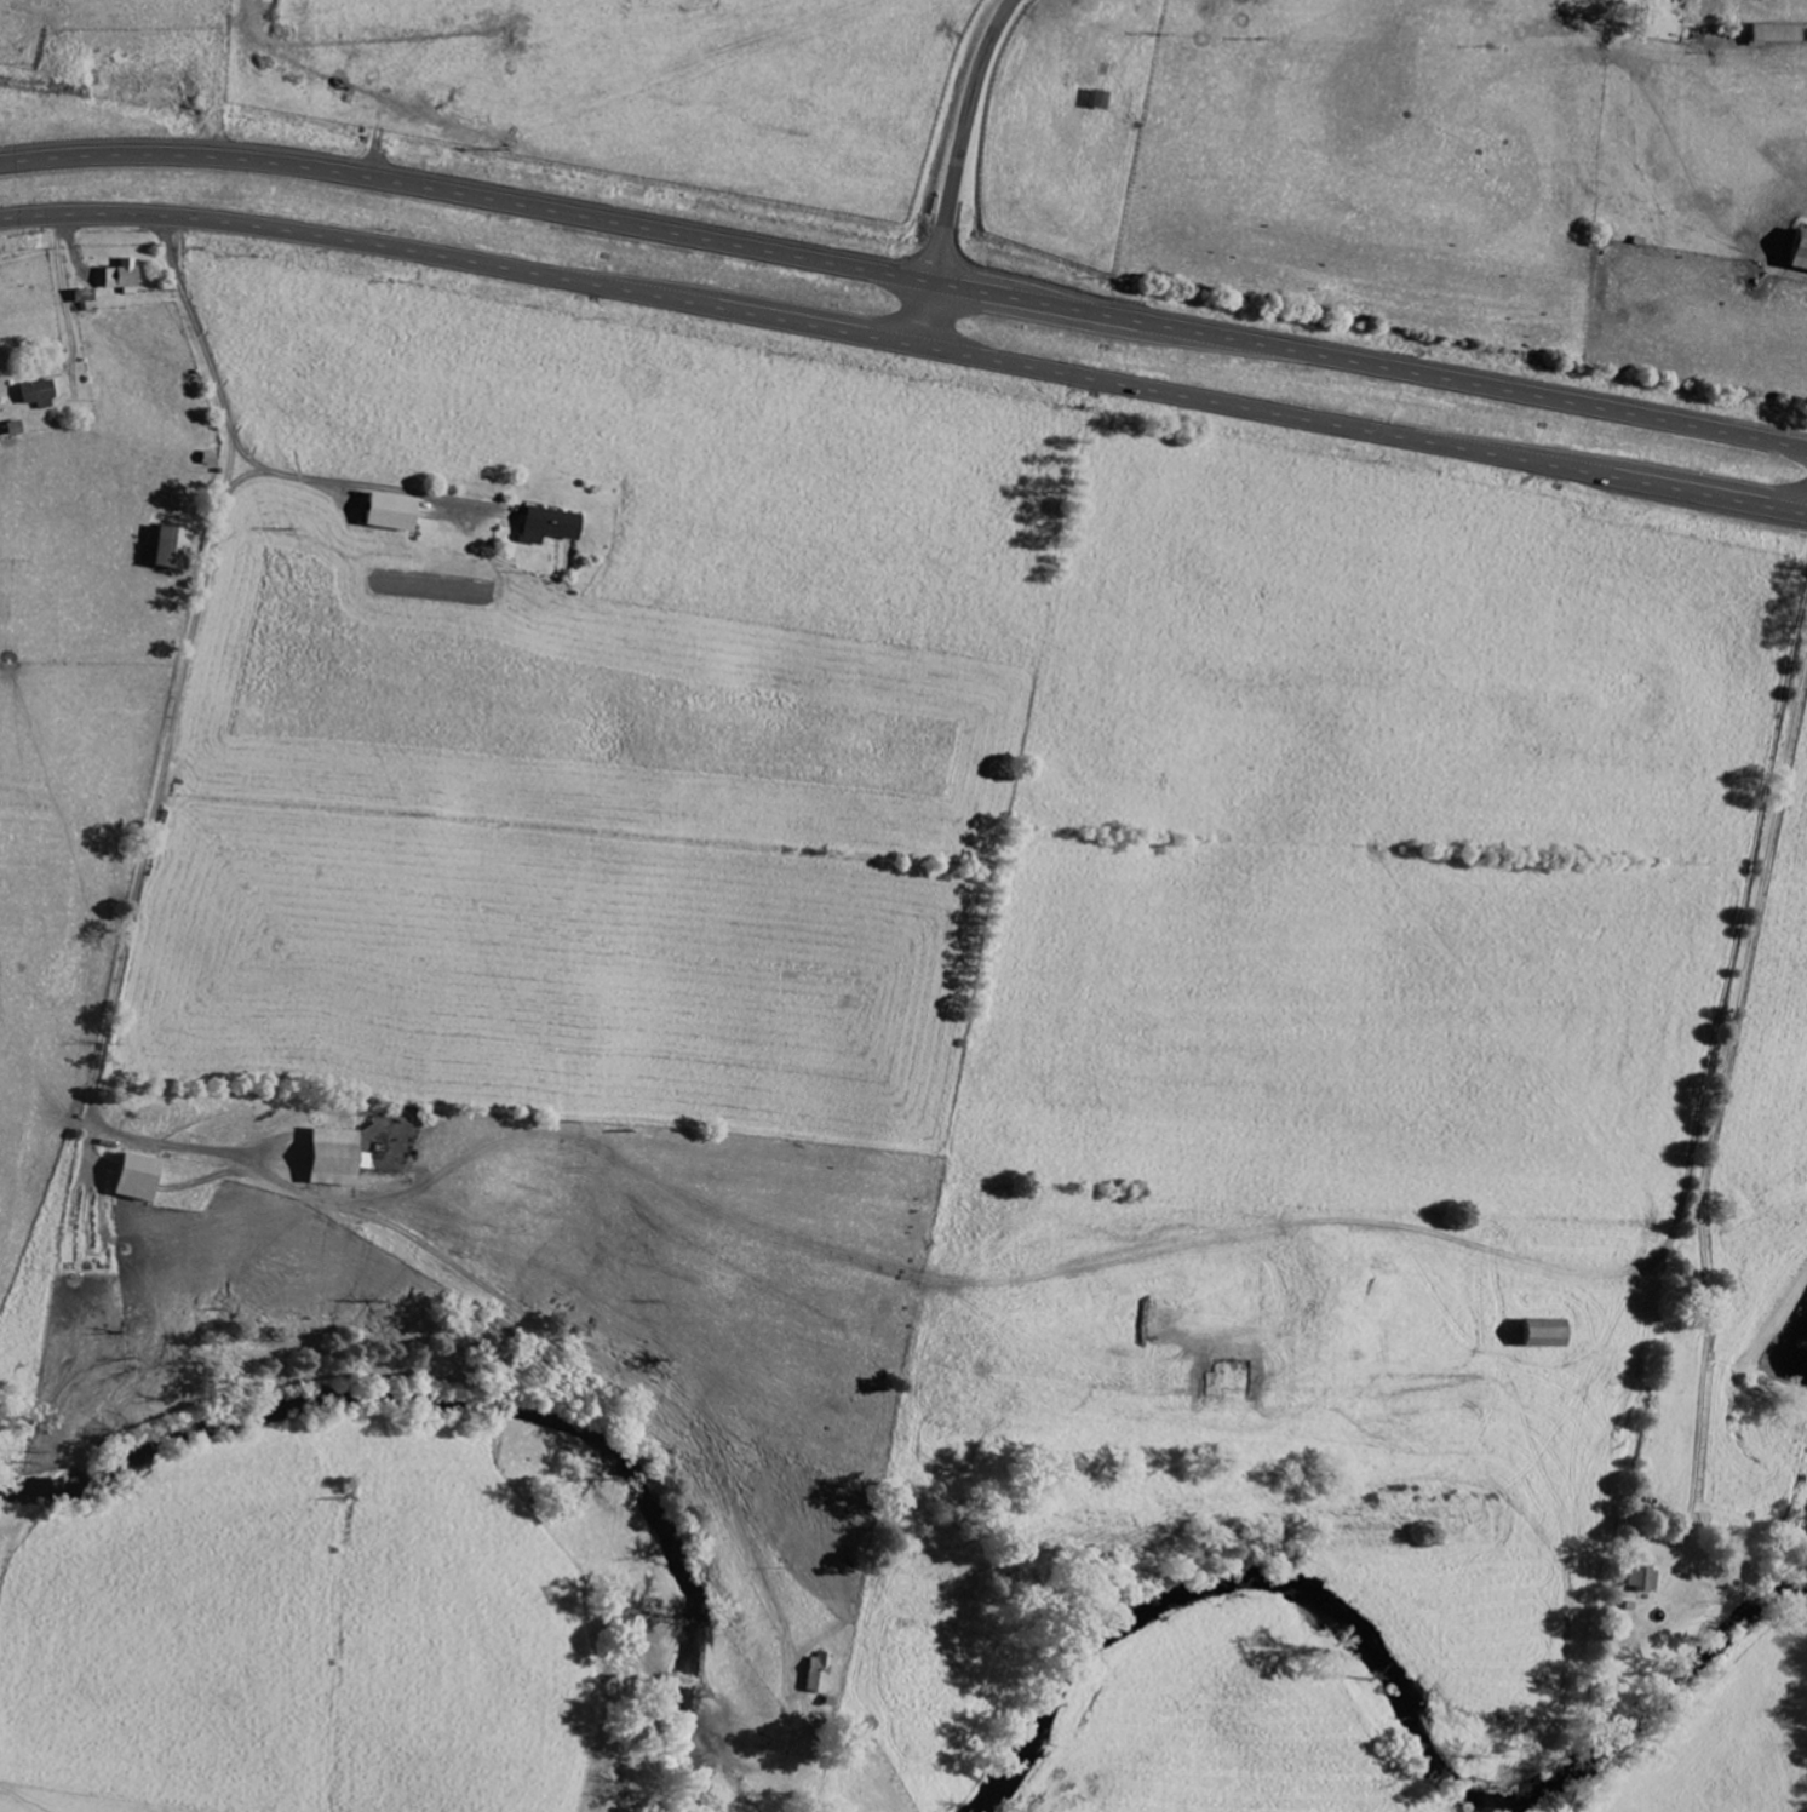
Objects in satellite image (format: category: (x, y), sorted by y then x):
road: (956, 170)
road: (906, 277)
road: (905, 343)
road: (368, 486)
road: (1736, 937)
road: (1722, 1097)
road: (92, 1099)

